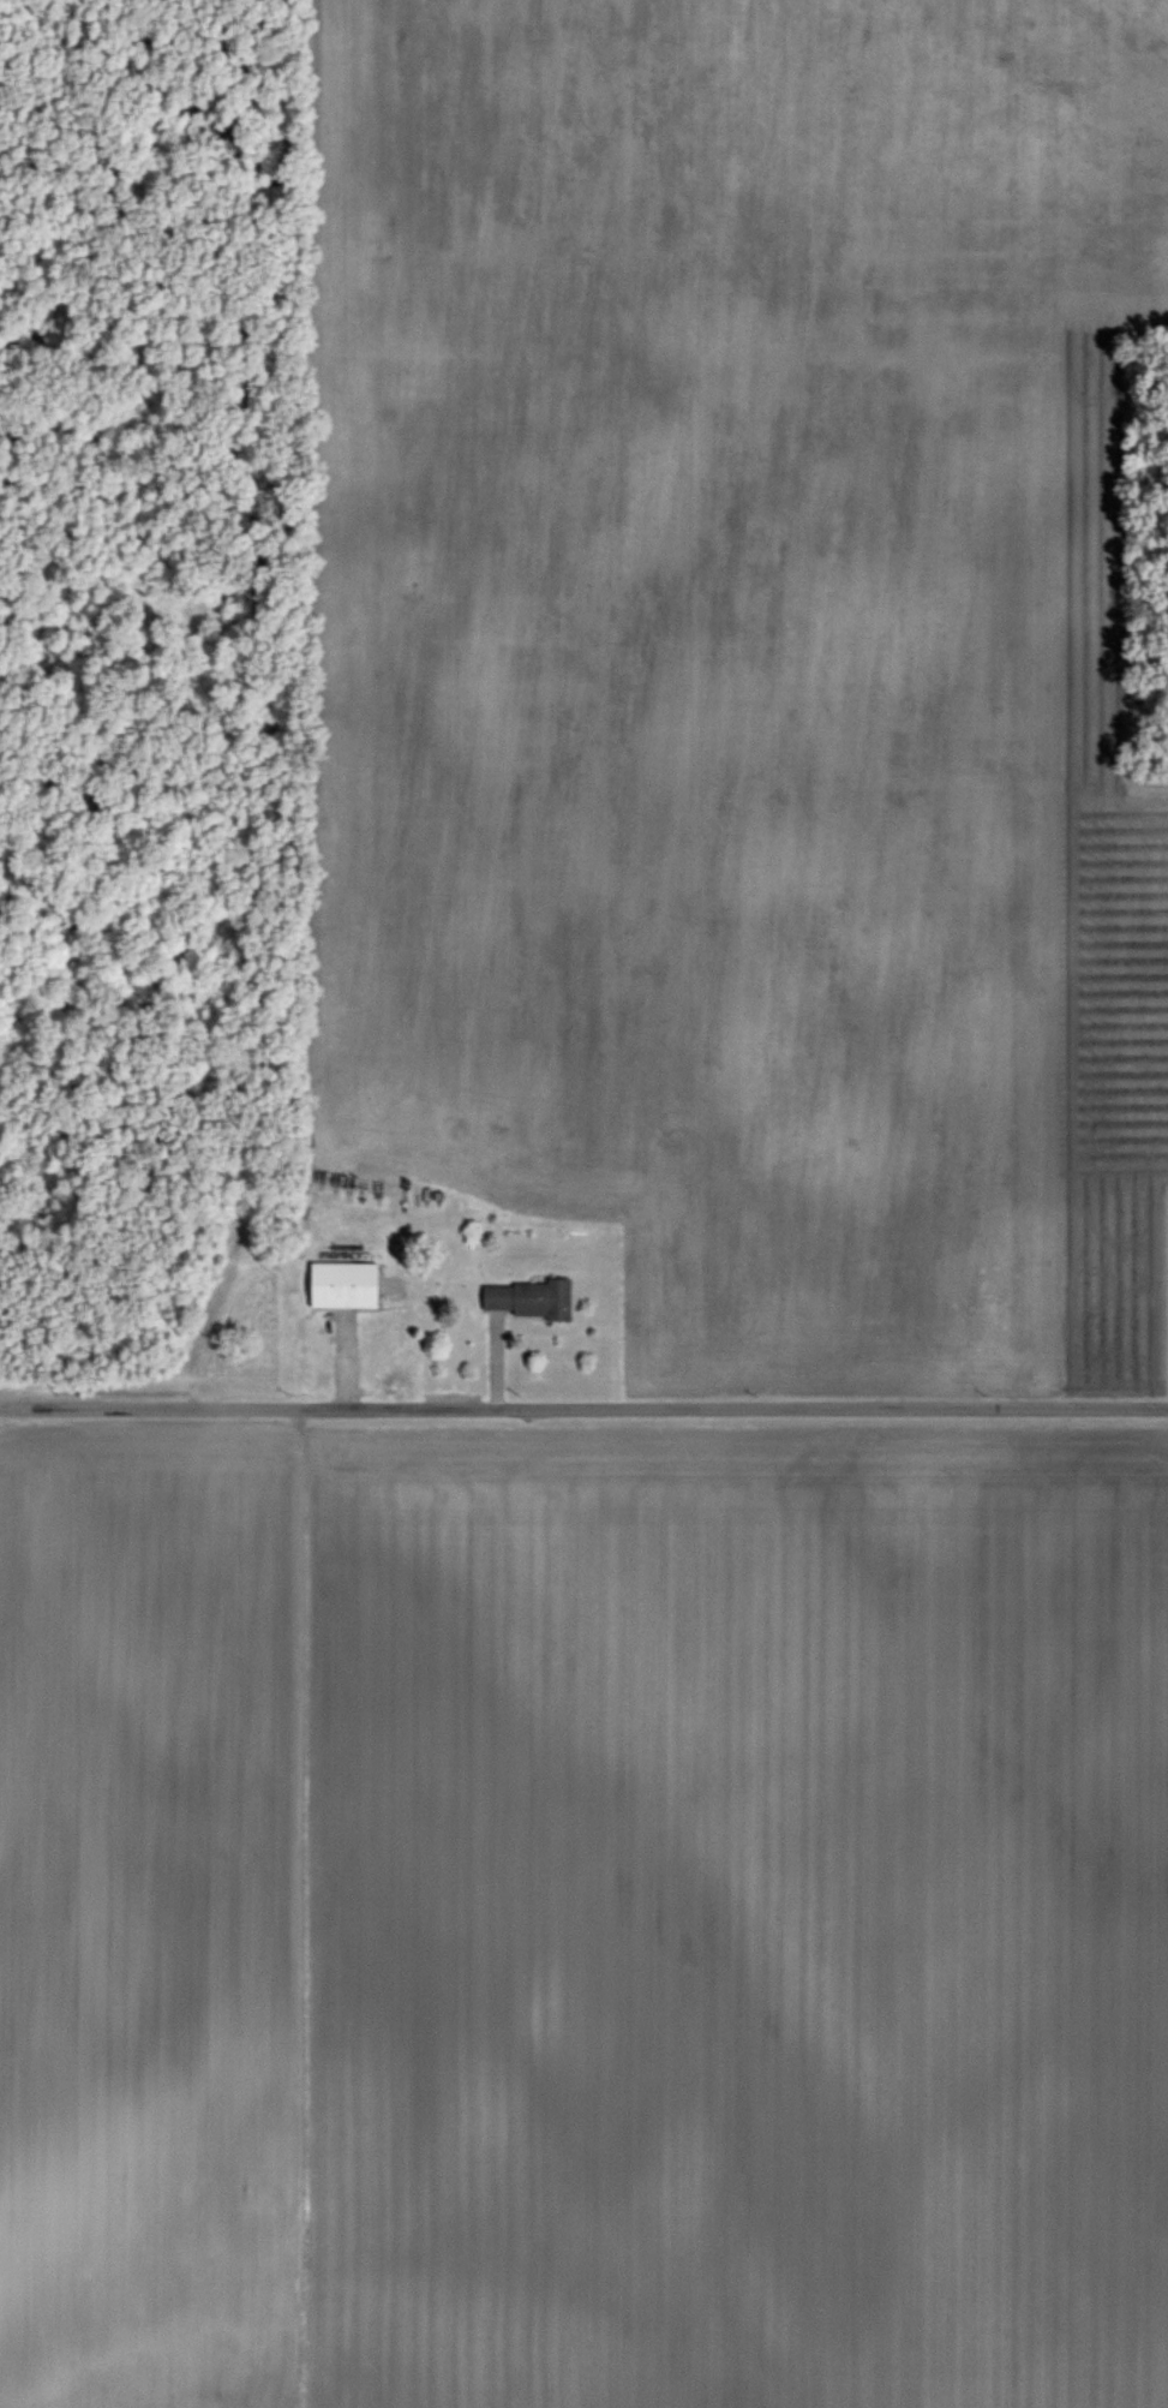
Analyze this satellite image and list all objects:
road: (583, 1406)

